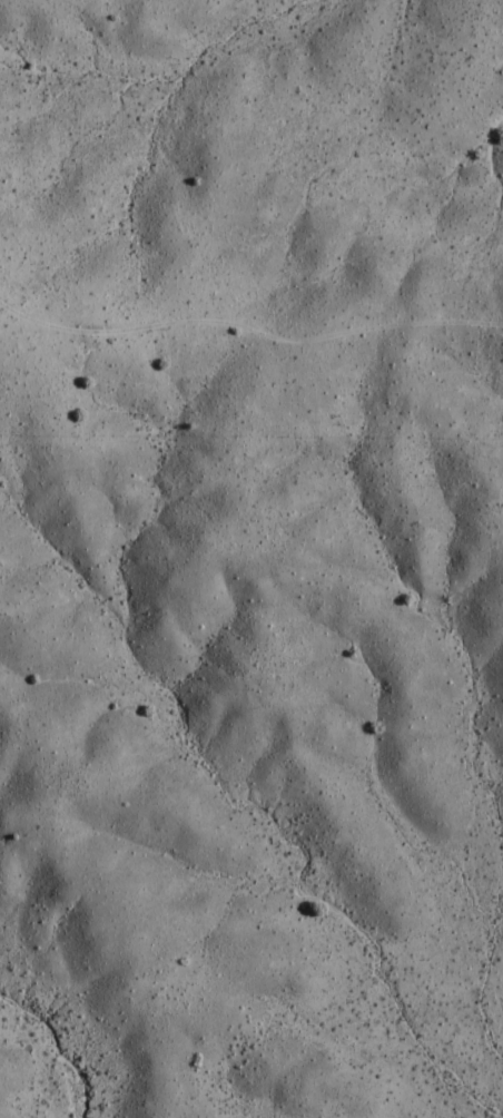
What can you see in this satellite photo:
road: (249, 332)

